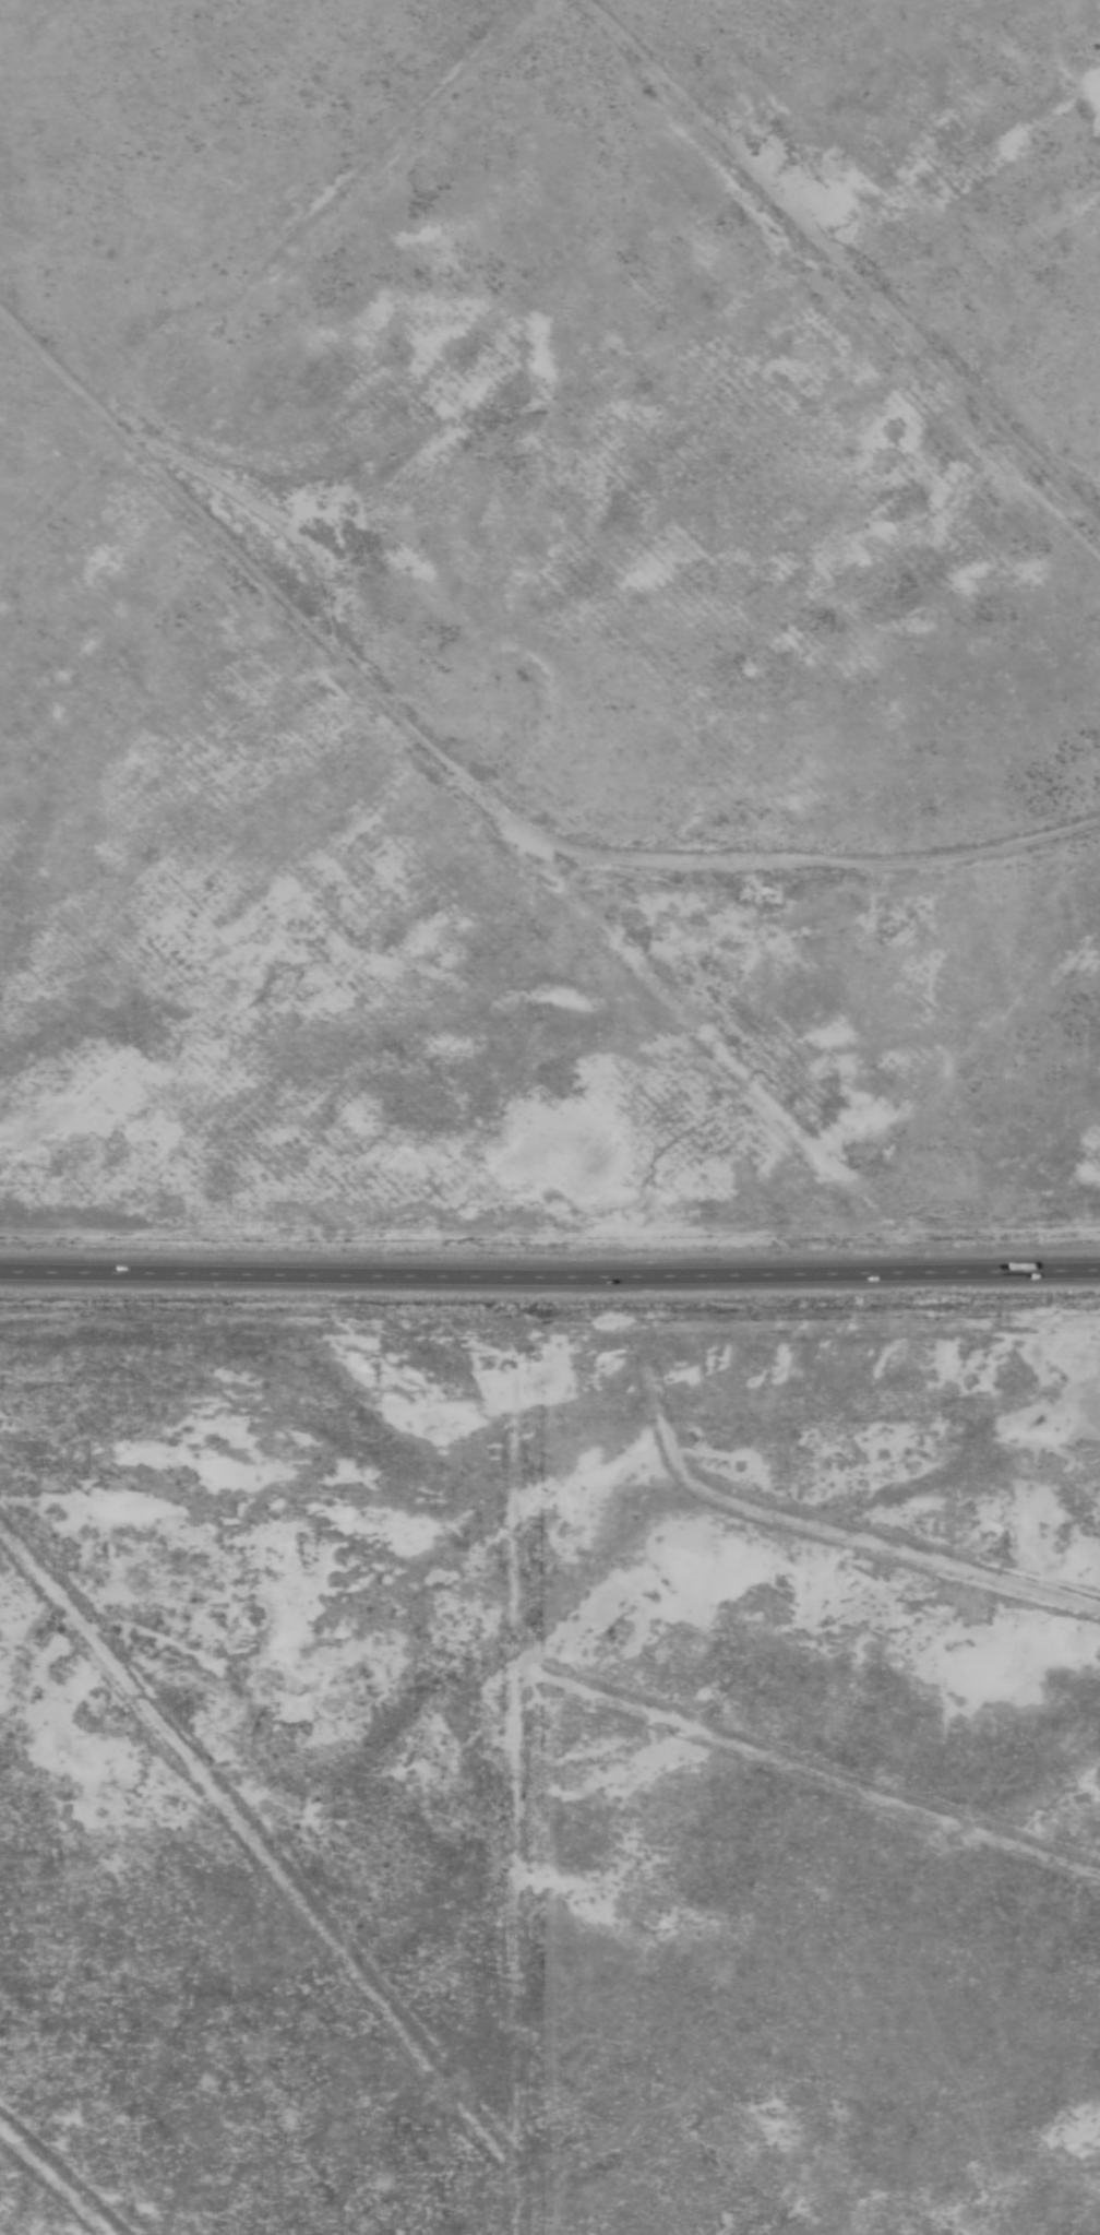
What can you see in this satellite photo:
road: (836, 264)
road: (466, 784)
road: (550, 1274)

